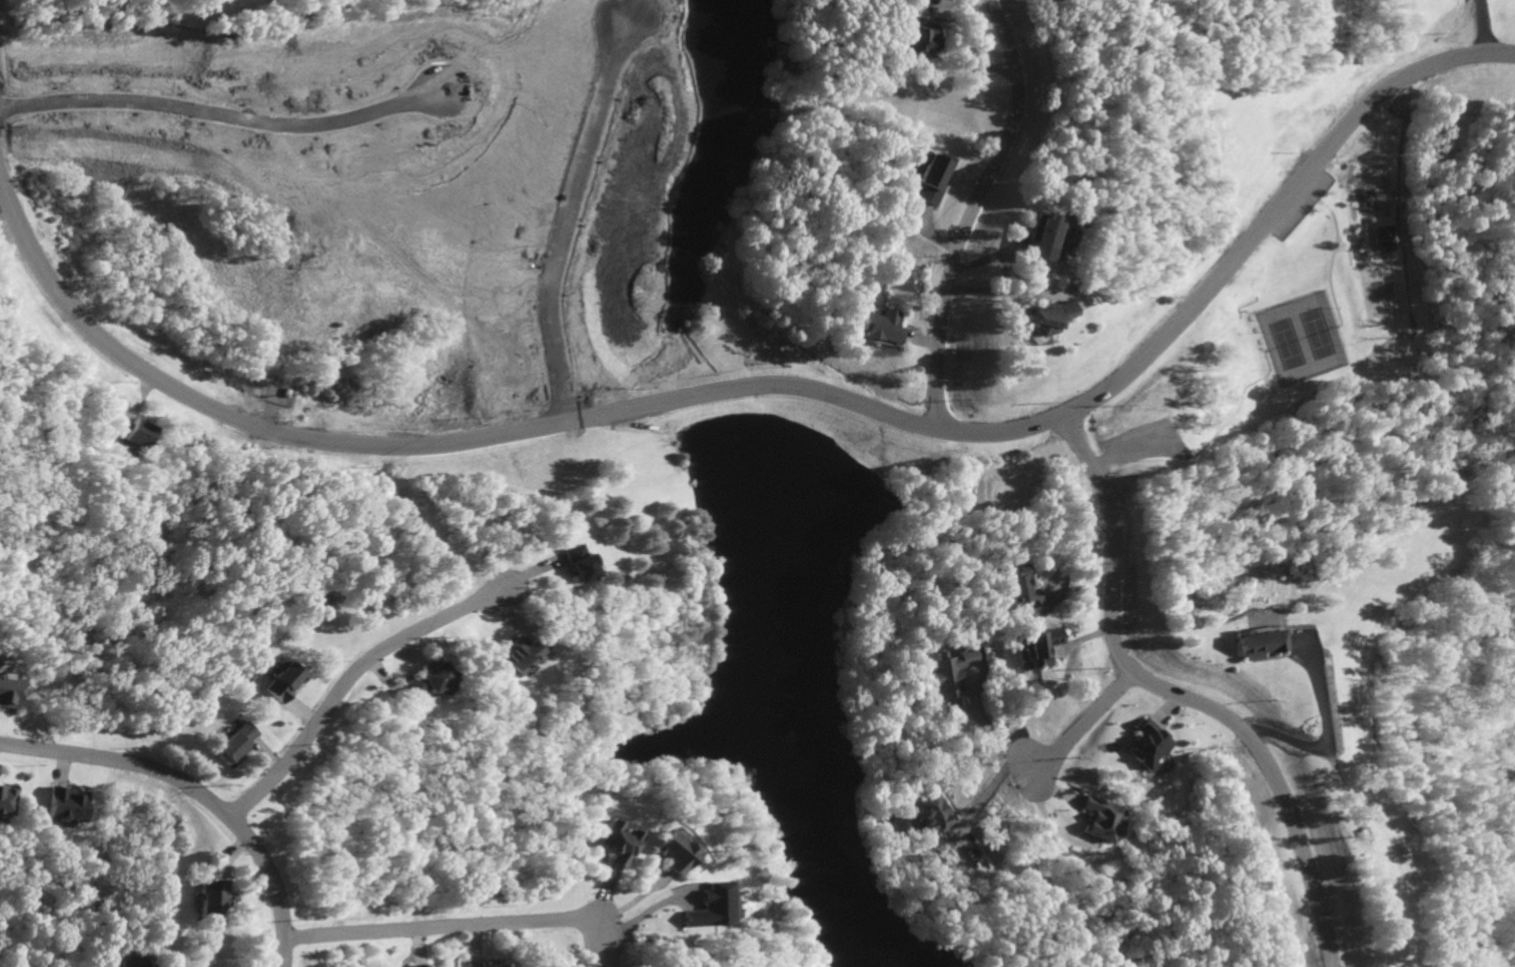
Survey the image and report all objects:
building: (911, 1)
road: (990, 7)
building: (915, 42)
building: (928, 178)
road: (1275, 208)
road: (971, 216)
building: (1041, 238)
building: (1380, 239)
building: (1035, 320)
building: (877, 328)
building: (128, 432)
road: (485, 440)
building: (572, 562)
building: (1020, 587)
building: (1254, 641)
building: (1036, 642)
building: (511, 657)
building: (517, 670)
building: (949, 672)
building: (280, 680)
building: (424, 680)
road: (348, 682)
building: (8, 691)
road: (1184, 695)
road: (1089, 721)
road: (999, 735)
building: (234, 740)
building: (1148, 743)
road: (1320, 744)
road: (992, 785)
road: (196, 793)
building: (6, 800)
building: (64, 804)
building: (932, 813)
building: (1100, 820)
building: (619, 843)
building: (670, 853)
building: (208, 897)
building: (703, 903)
road: (441, 928)
building: (134, 962)
building: (477, 964)
building: (417, 966)

